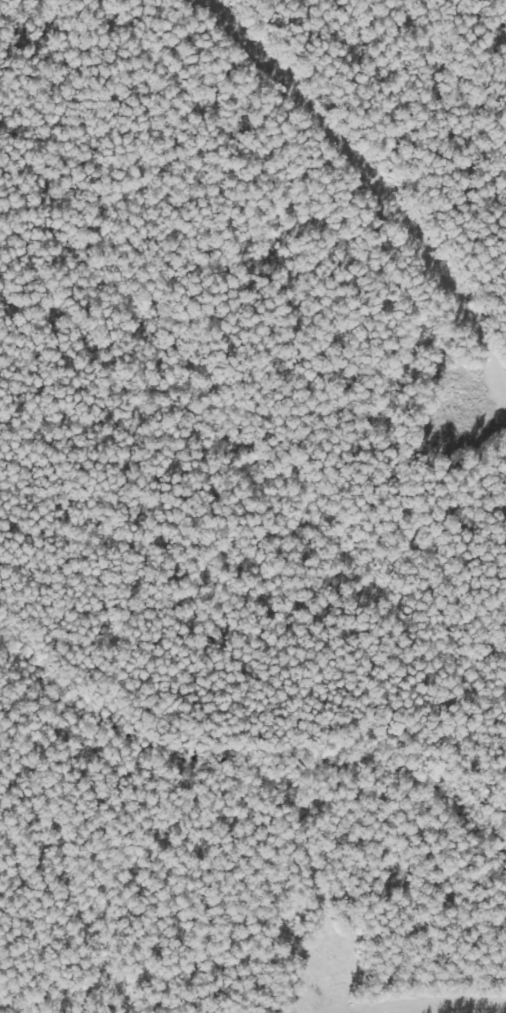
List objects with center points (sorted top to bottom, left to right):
road: (411, 75)

